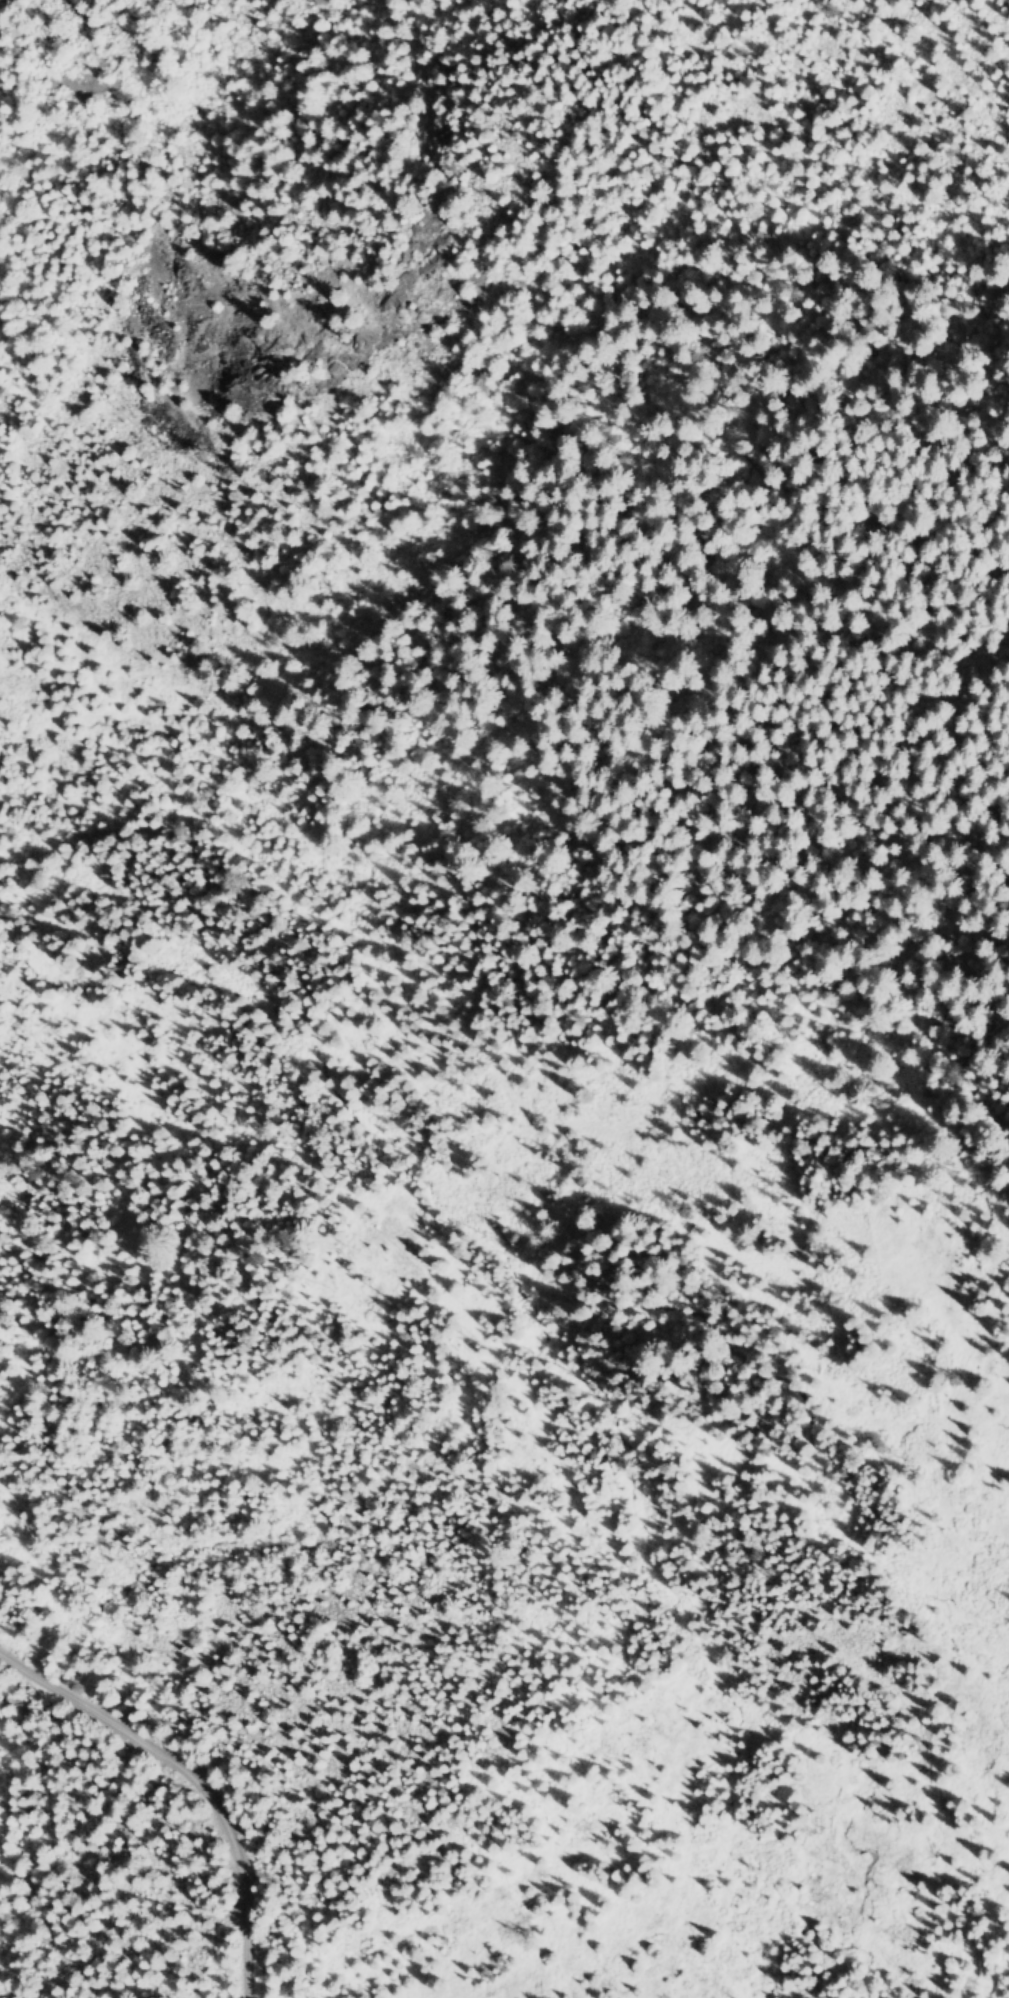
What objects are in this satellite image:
road: (191, 1783)

